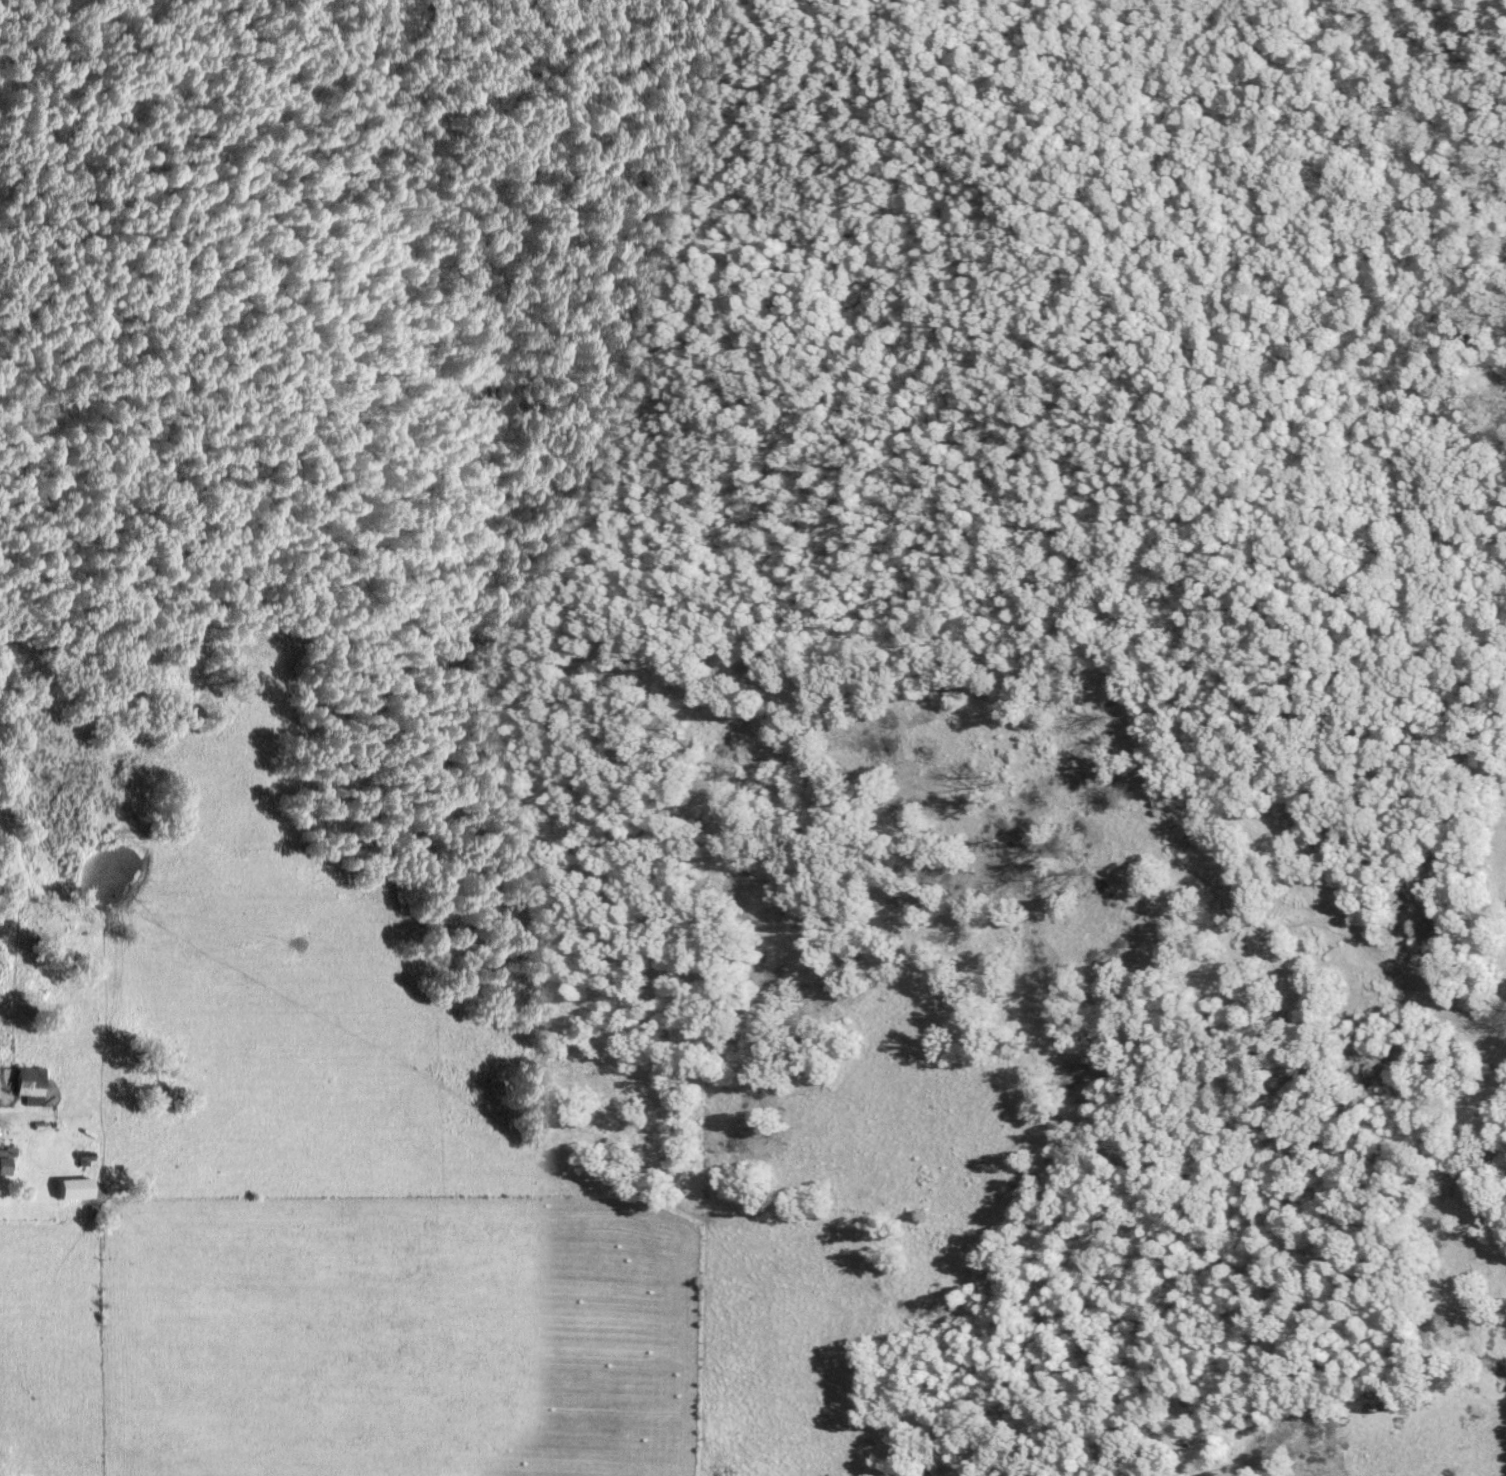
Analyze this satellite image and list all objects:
building: (31, 1085)
building: (5, 1161)

